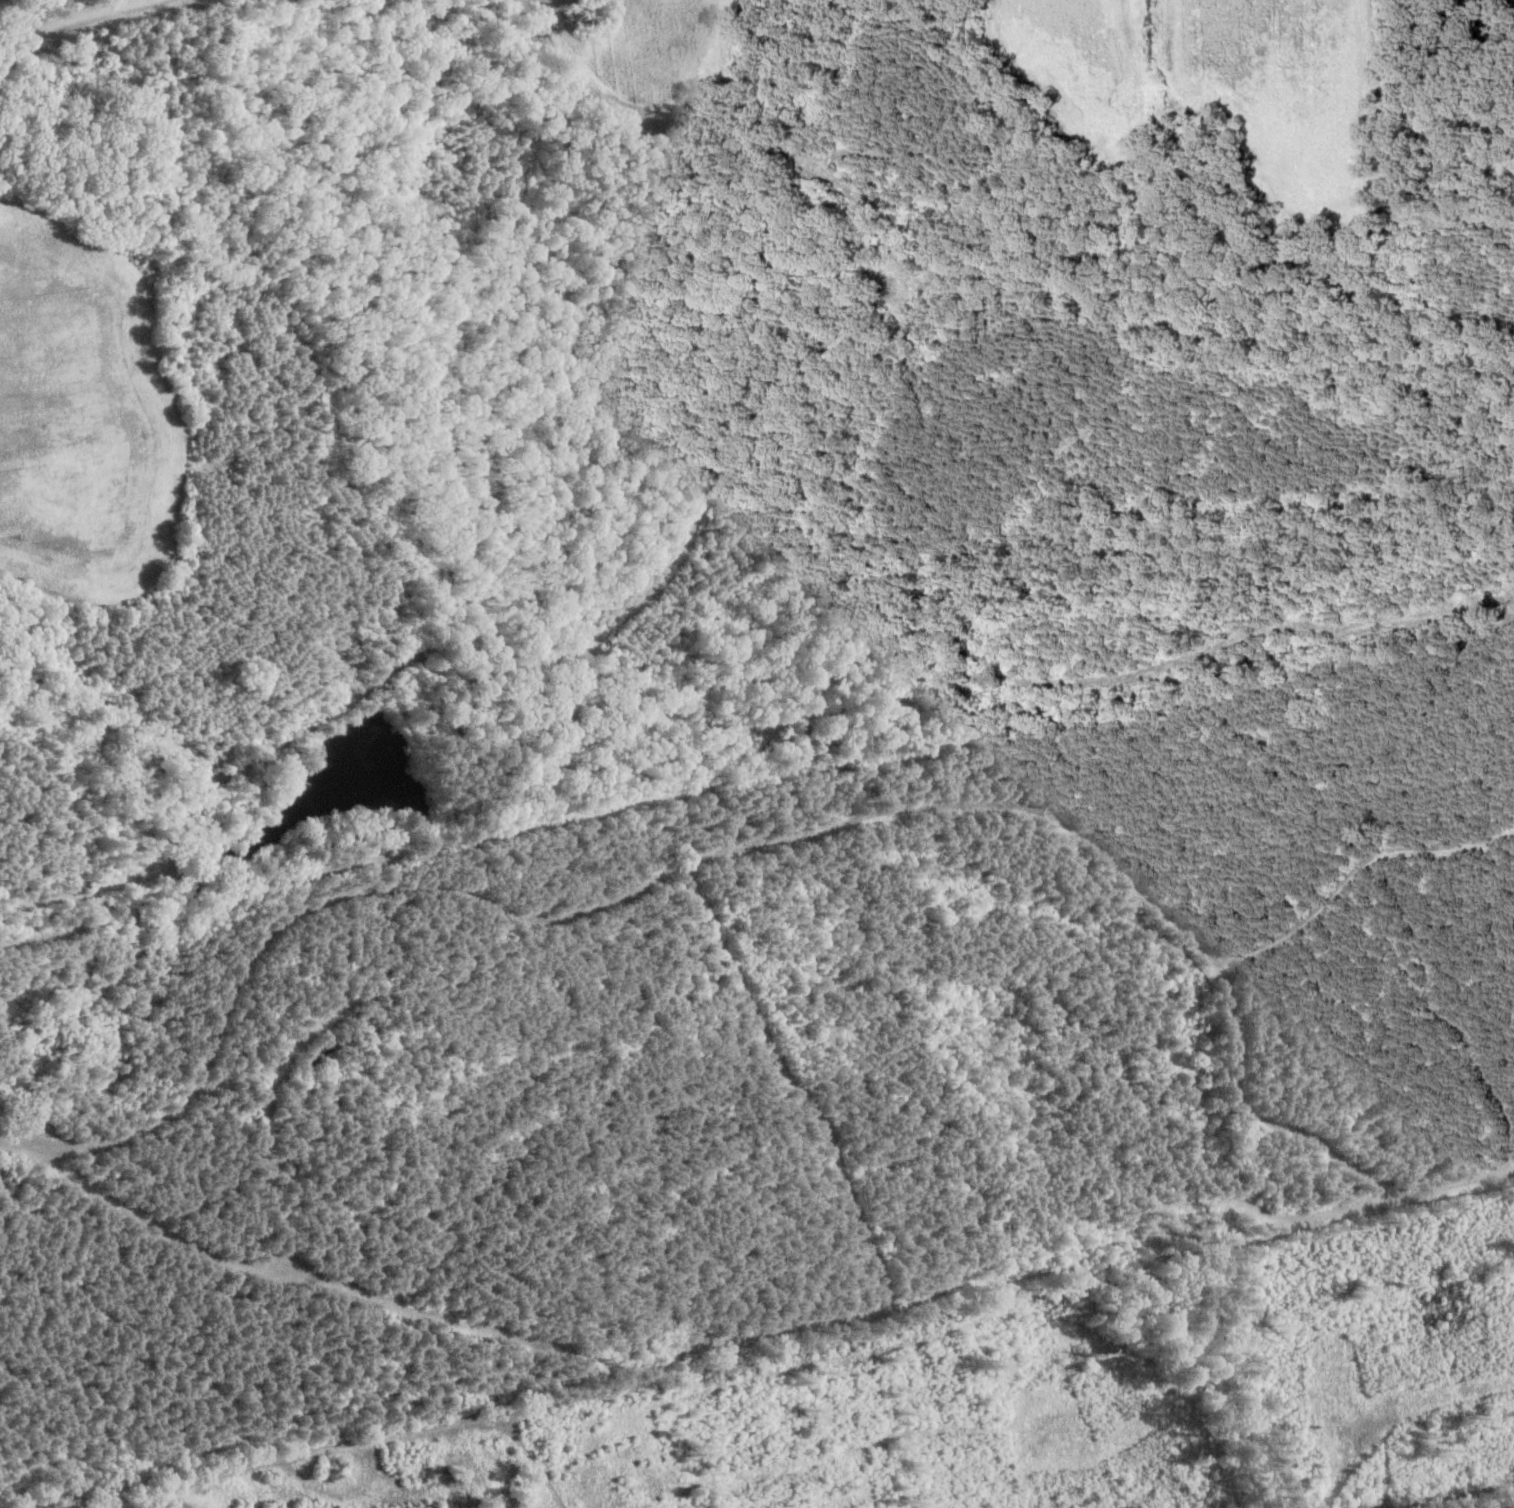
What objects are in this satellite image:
road: (132, 1275)
road: (60, 1283)

